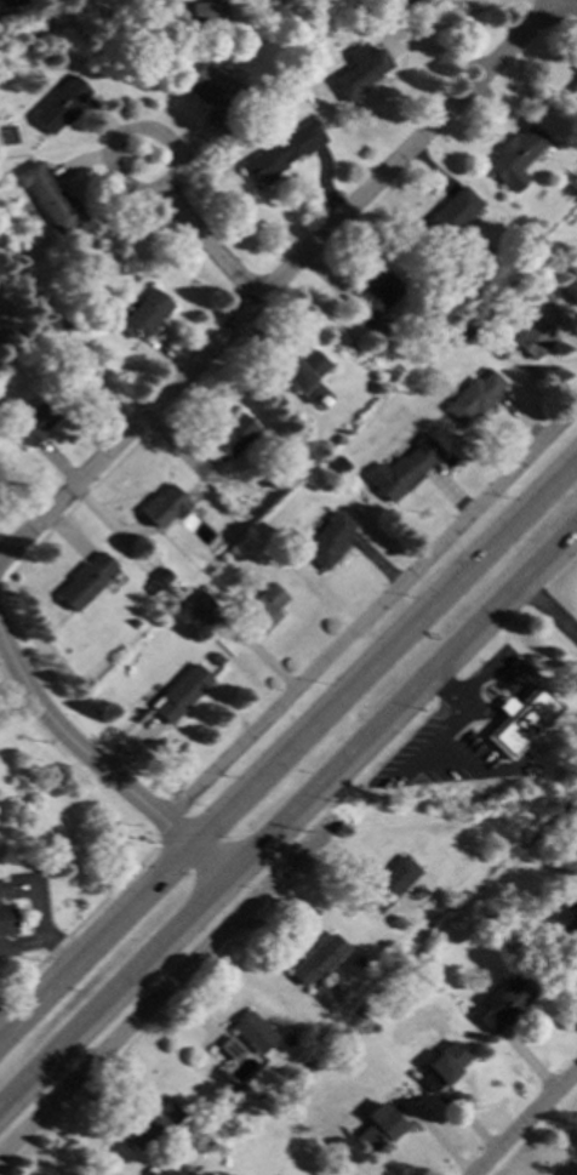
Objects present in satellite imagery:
building: (468, 0)
road: (576, 0)
building: (10, 2)
building: (208, 11)
road: (27, 35)
building: (359, 69)
building: (573, 87)
building: (215, 95)
building: (59, 104)
building: (280, 153)
building: (515, 155)
building: (48, 196)
building: (450, 213)
road: (198, 233)
road: (274, 273)
building: (373, 296)
building: (144, 313)
building: (65, 324)
building: (538, 330)
building: (467, 331)
building: (47, 346)
building: (303, 373)
building: (388, 375)
building: (373, 387)
building: (473, 397)
building: (0, 403)
building: (33, 422)
building: (233, 433)
building: (339, 463)
building: (405, 468)
building: (164, 504)
building: (329, 538)
building: (161, 575)
building: (84, 580)
building: (150, 586)
building: (199, 603)
building: (263, 605)
road: (549, 610)
road: (369, 611)
building: (215, 658)
building: (179, 692)
building: (519, 720)
road: (286, 748)
road: (97, 764)
road: (287, 817)
building: (390, 883)
road: (85, 916)
building: (562, 917)
building: (5, 923)
road: (46, 931)
building: (318, 958)
road: (165, 987)
building: (504, 1002)
building: (253, 1032)
road: (1, 1039)
building: (230, 1046)
building: (442, 1066)
road: (522, 1120)
building: (153, 1126)
building: (376, 1129)
building: (153, 1168)
building: (207, 1174)

